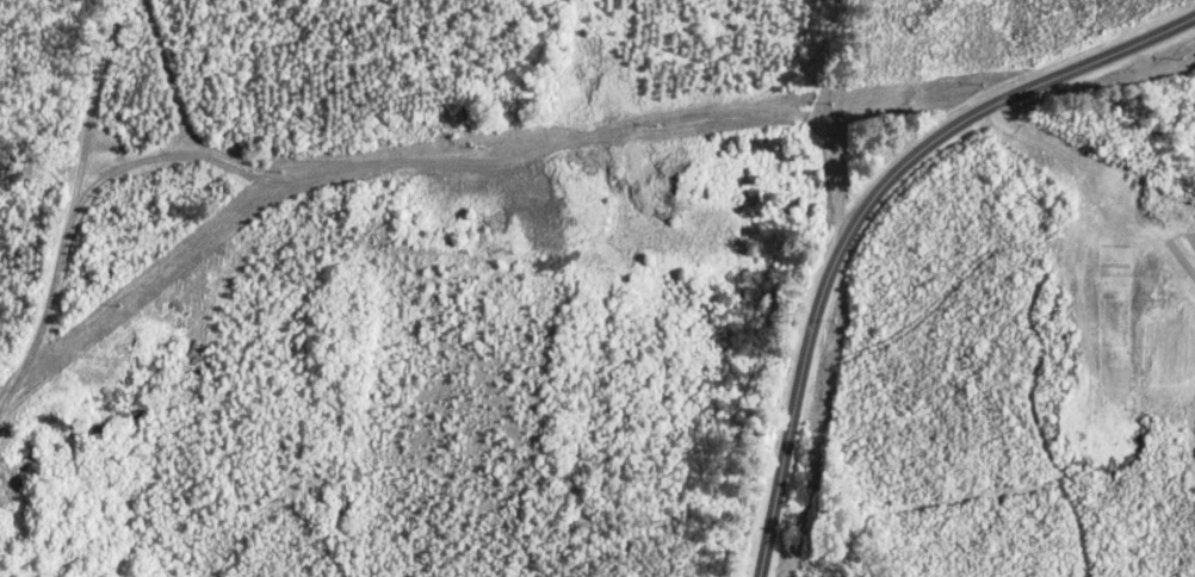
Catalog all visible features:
road: (869, 212)

